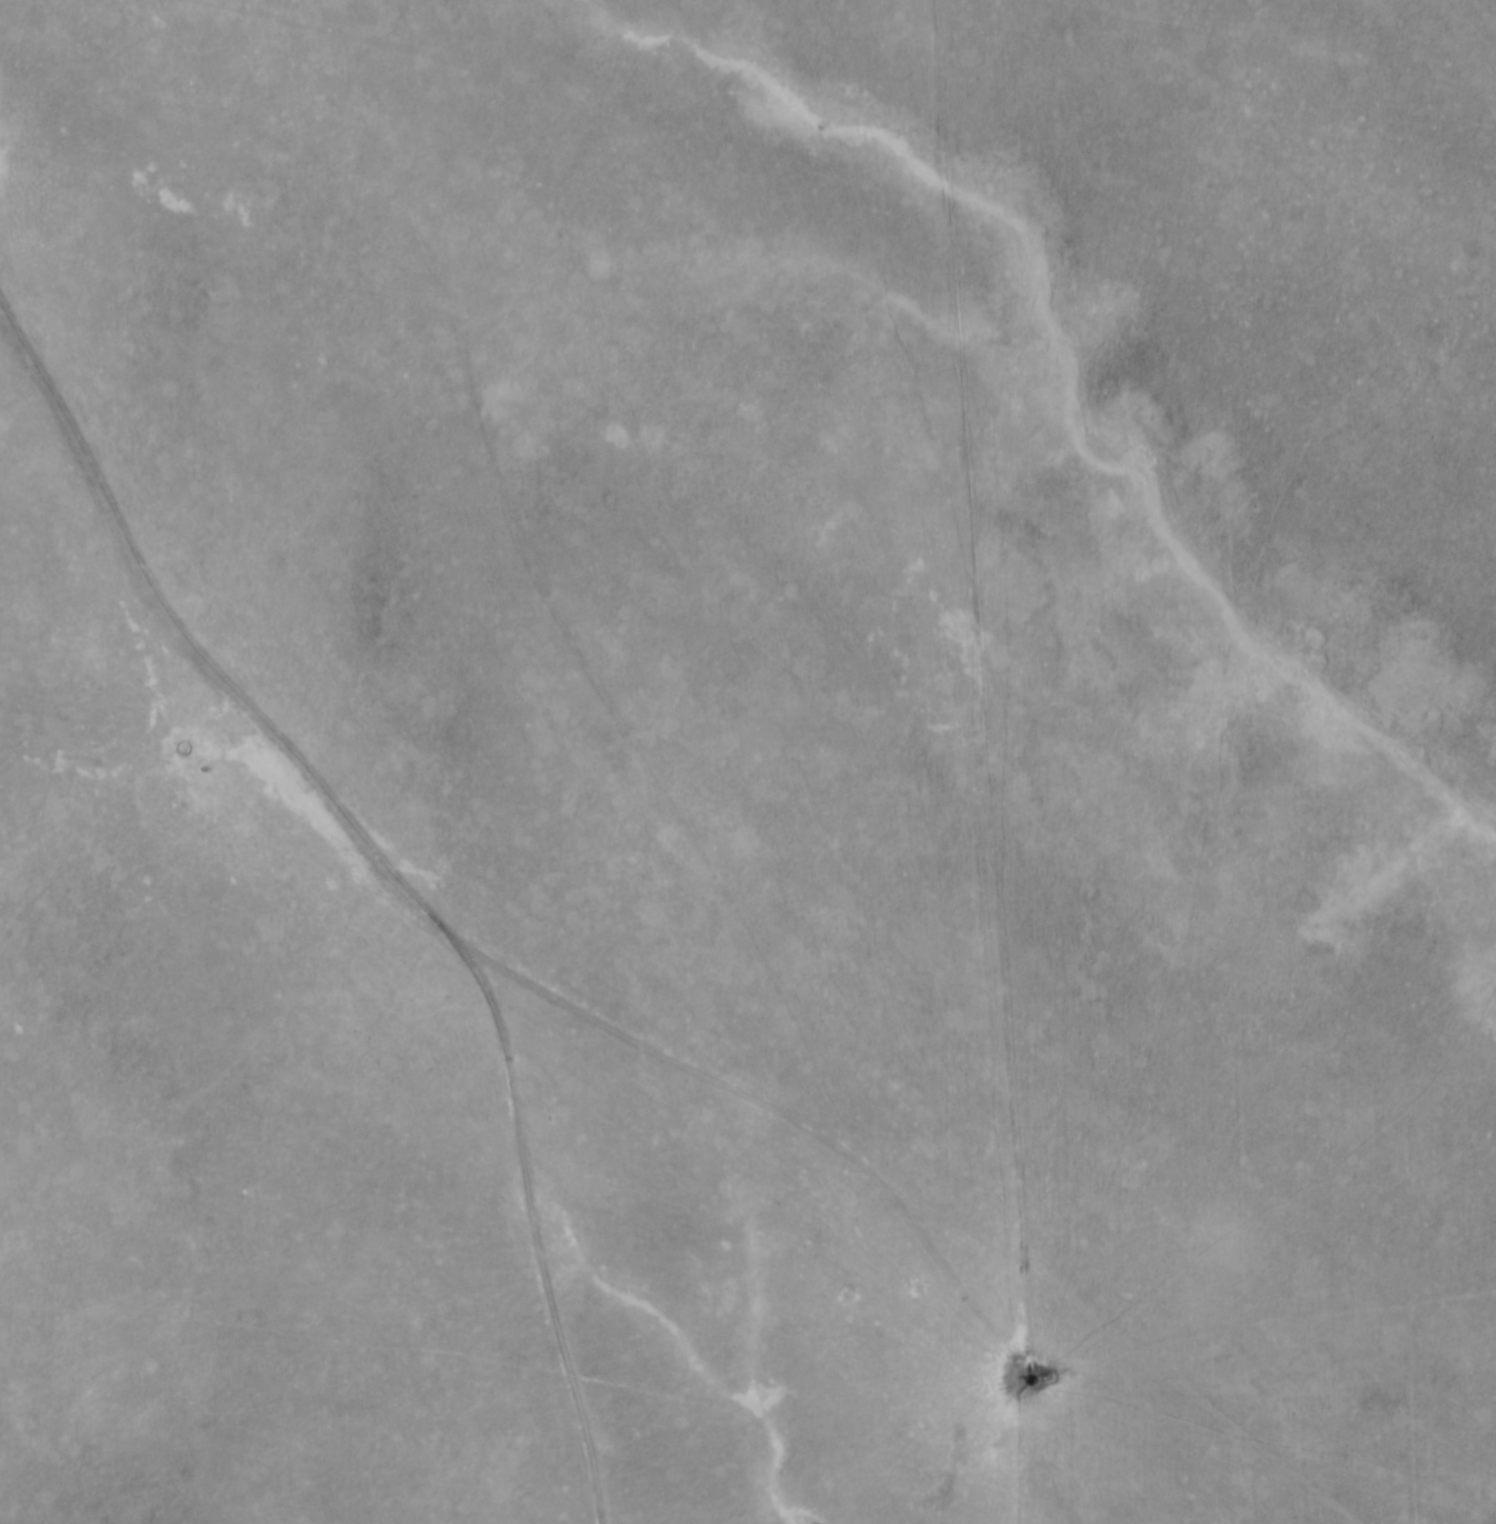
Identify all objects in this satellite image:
road: (392, 885)

